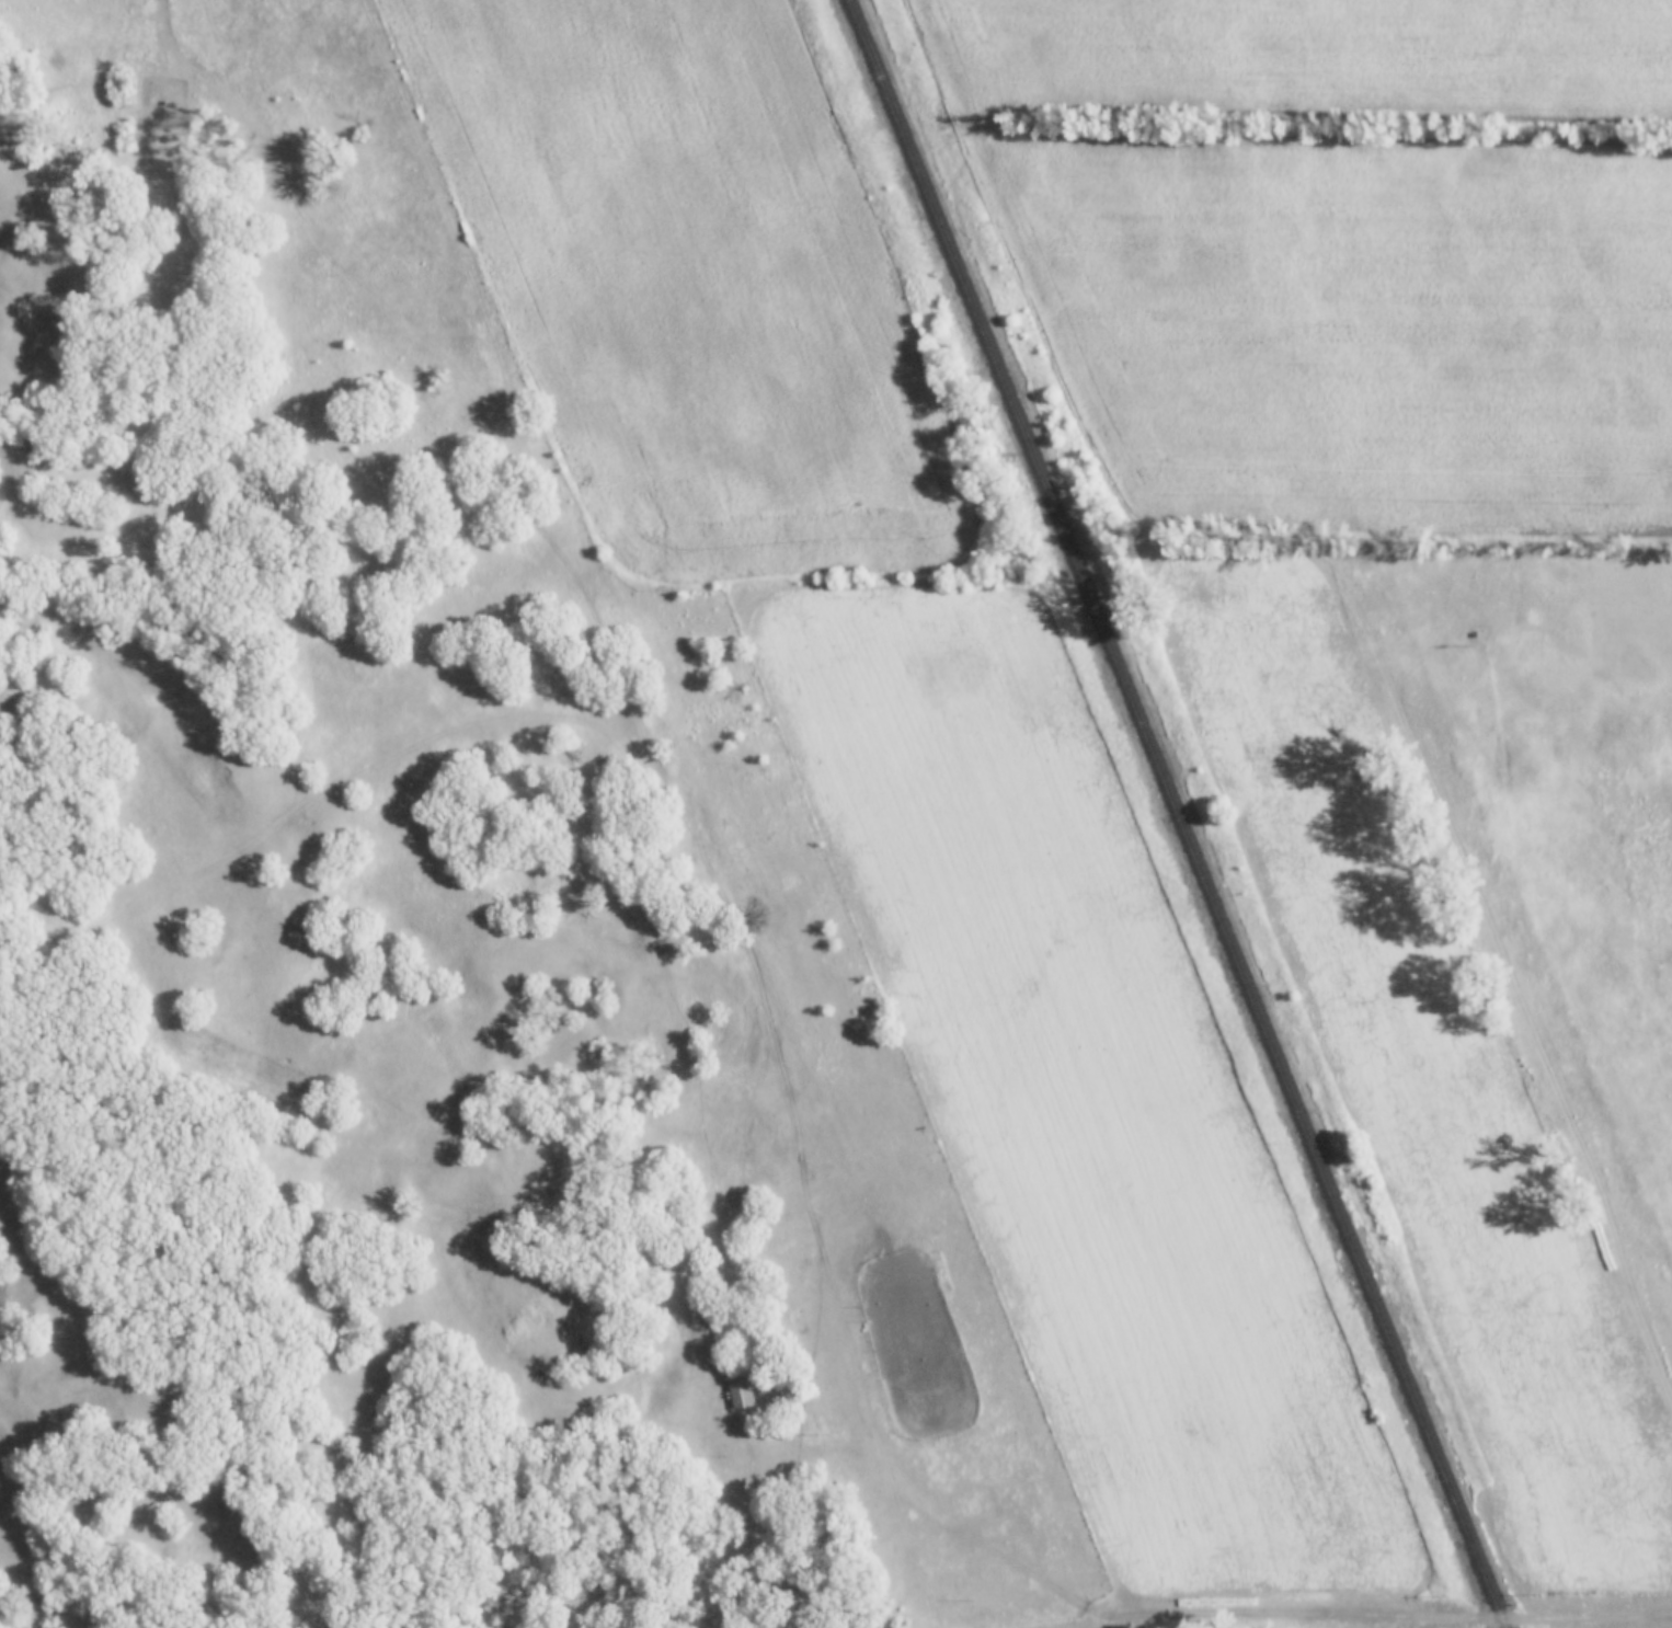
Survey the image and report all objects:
railway: (1177, 813)
building: (741, 1394)
road: (1349, 1614)

